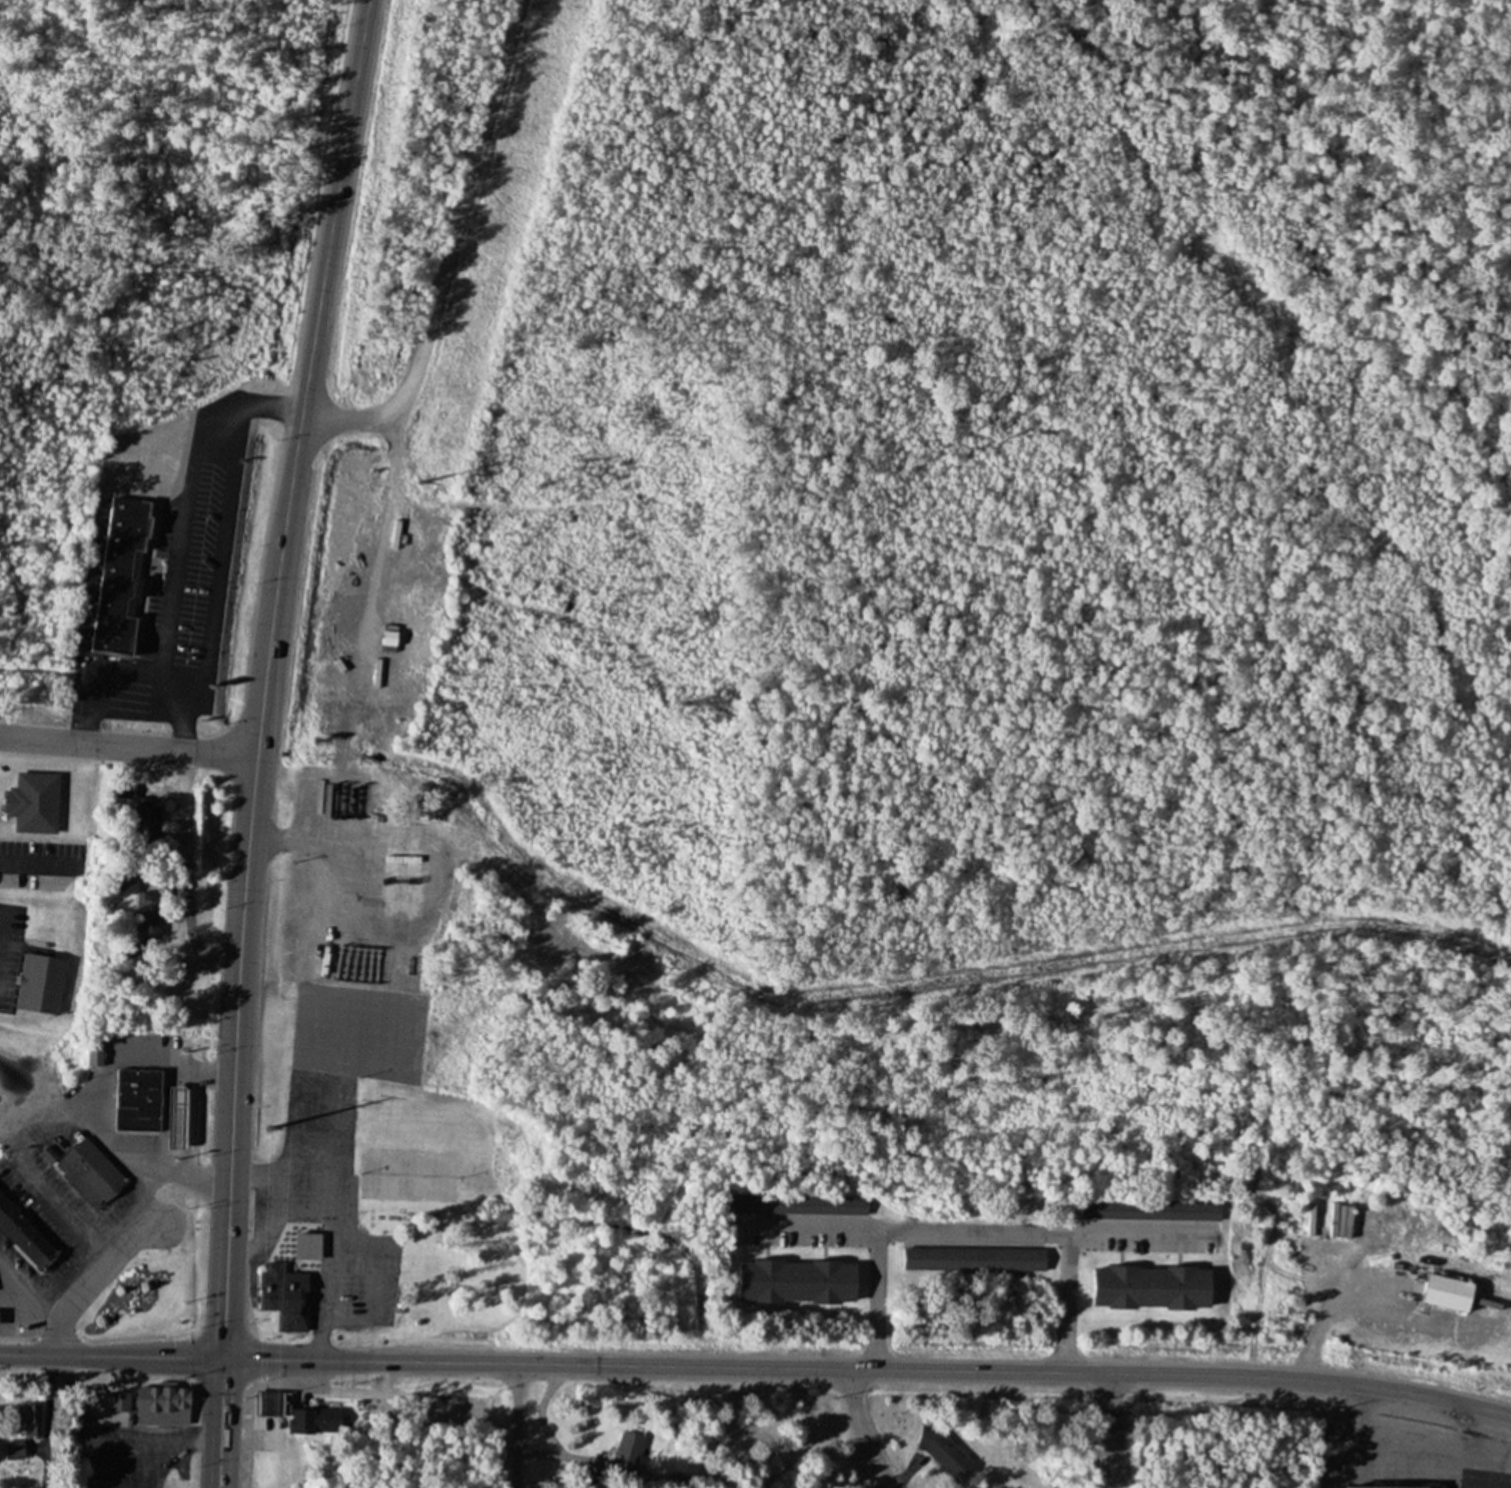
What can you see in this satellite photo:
road: (447, 253)
power tower: (423, 481)
building: (119, 576)
road: (257, 740)
road: (127, 746)
building: (30, 792)
building: (147, 826)
building: (394, 842)
building: (154, 920)
building: (40, 985)
building: (94, 1055)
building: (137, 1100)
power tower: (263, 1126)
building: (90, 1172)
building: (796, 1204)
building: (1150, 1210)
building: (23, 1235)
building: (973, 1259)
road: (89, 1278)
building: (797, 1282)
building: (287, 1287)
building: (1151, 1288)
park: (148, 1293)
building: (1448, 1294)
road: (757, 1367)
building: (119, 1401)
building: (162, 1404)
building: (320, 1420)
road: (515, 1426)
road: (1112, 1429)
road: (863, 1430)
building: (23, 1451)
building: (627, 1454)
building: (1393, 1486)

